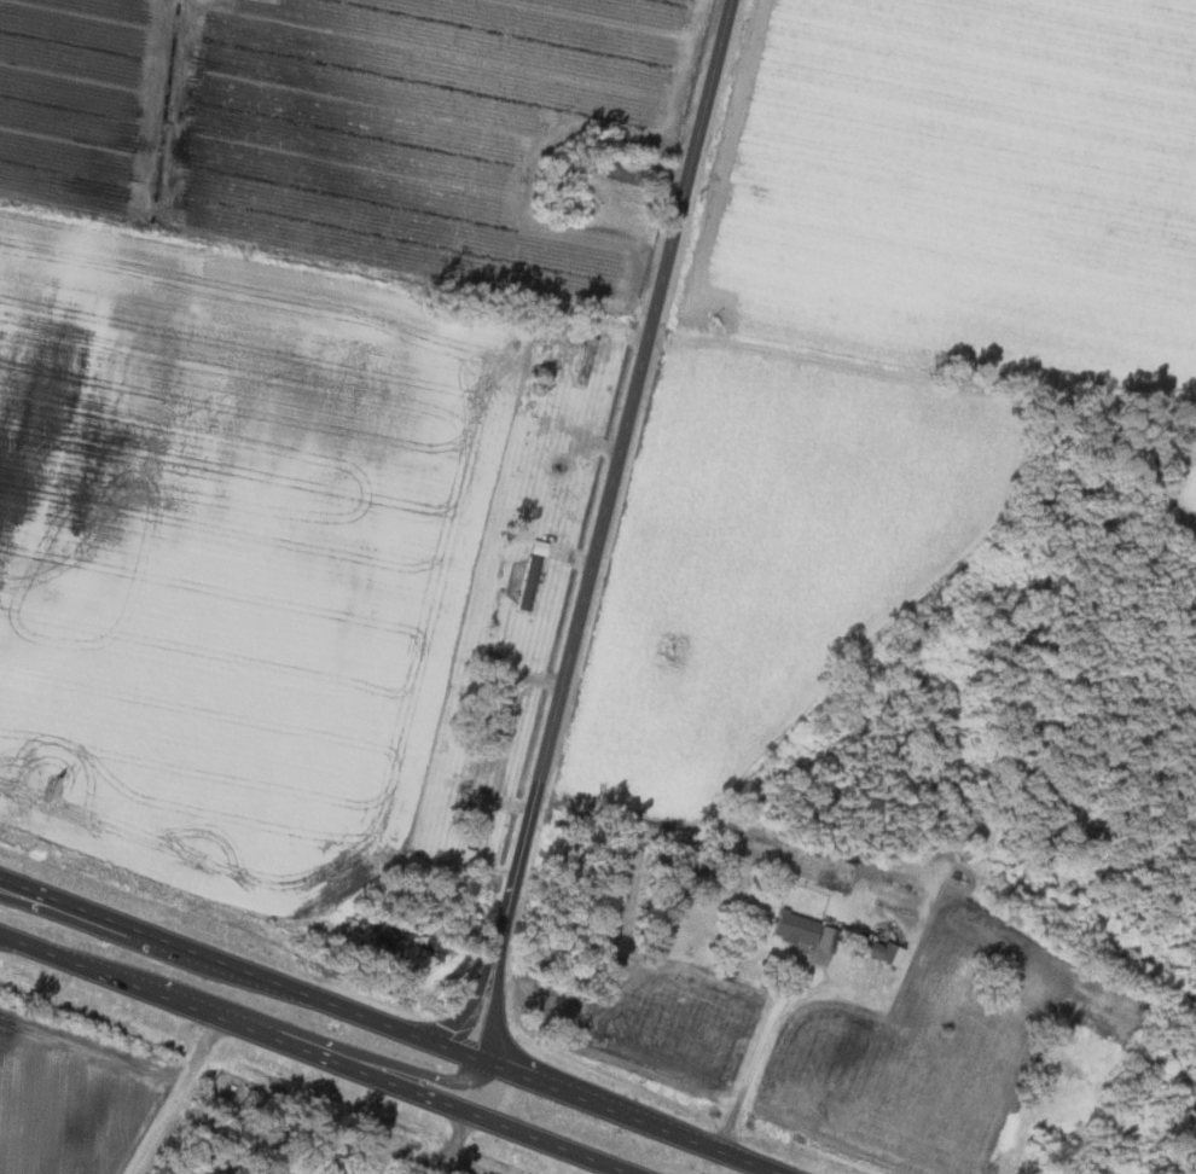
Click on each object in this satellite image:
road: (612, 478)
building: (523, 581)
road: (19, 888)
building: (791, 925)
building: (825, 936)
building: (877, 948)
road: (465, 1007)
road: (492, 1009)
road: (391, 1024)
road: (315, 1052)
road: (408, 1069)
road: (168, 1094)
road: (453, 1141)
road: (414, 1163)
road: (459, 1163)

